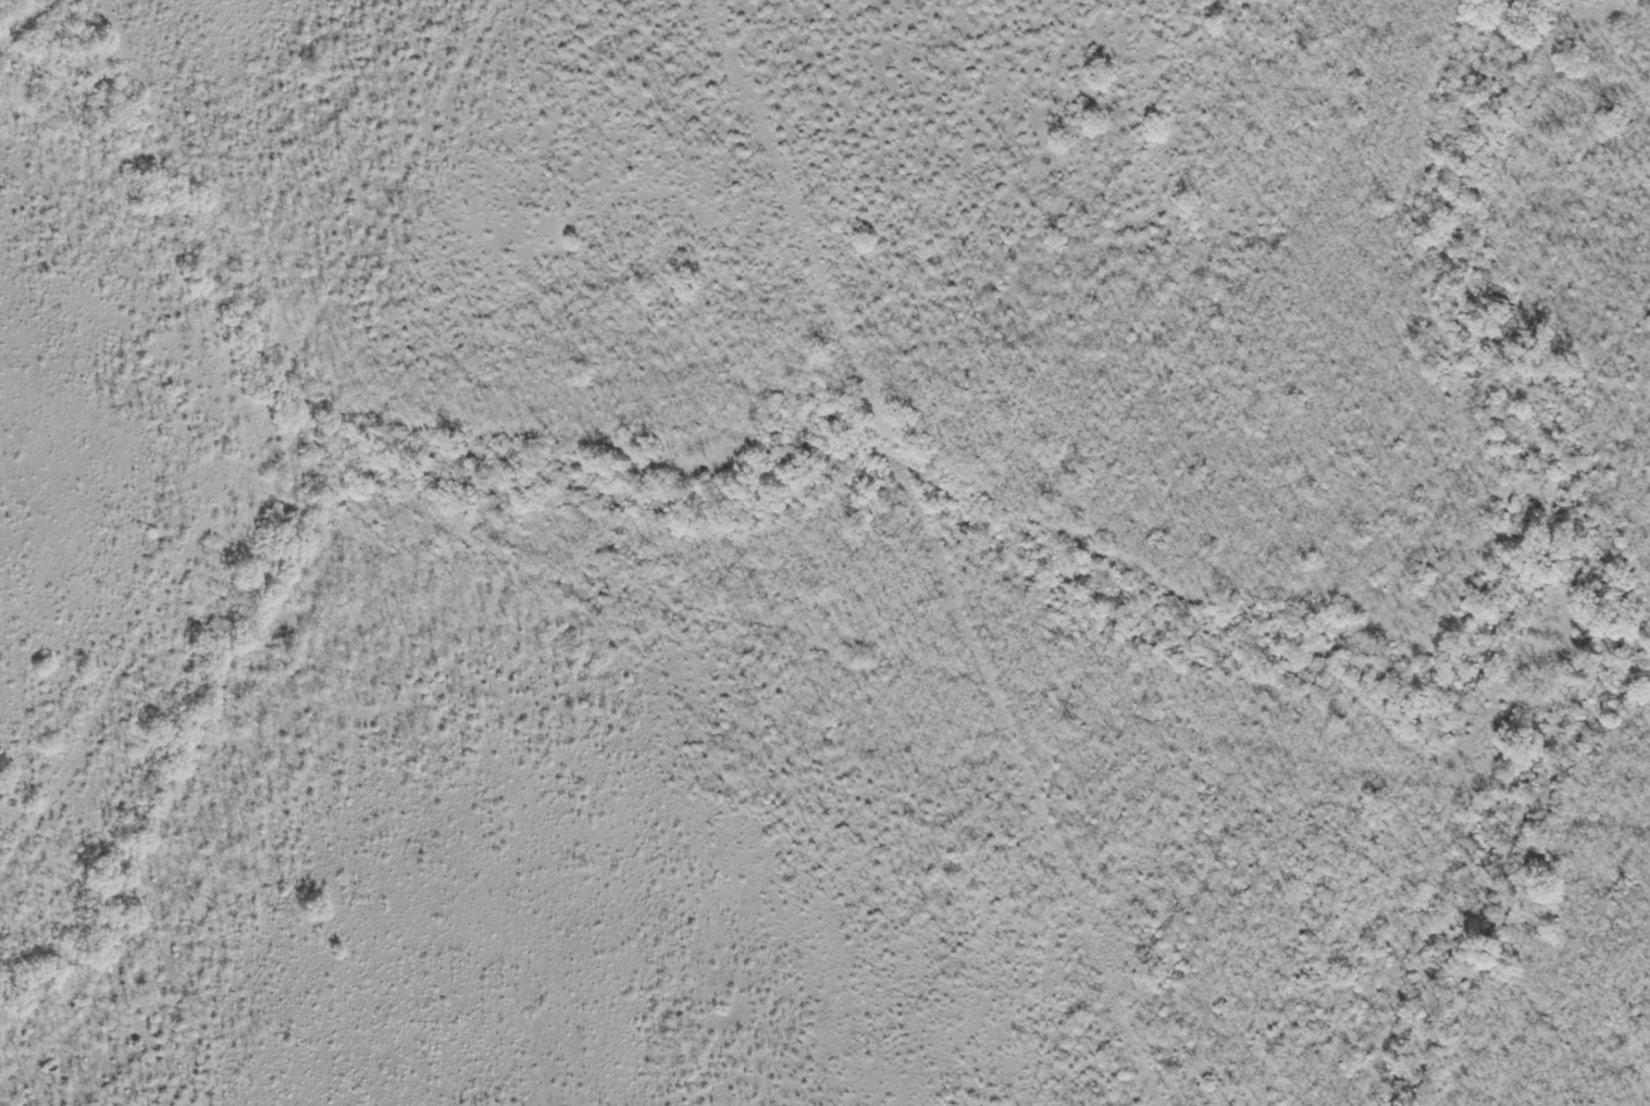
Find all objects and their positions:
road: (23, 20)

